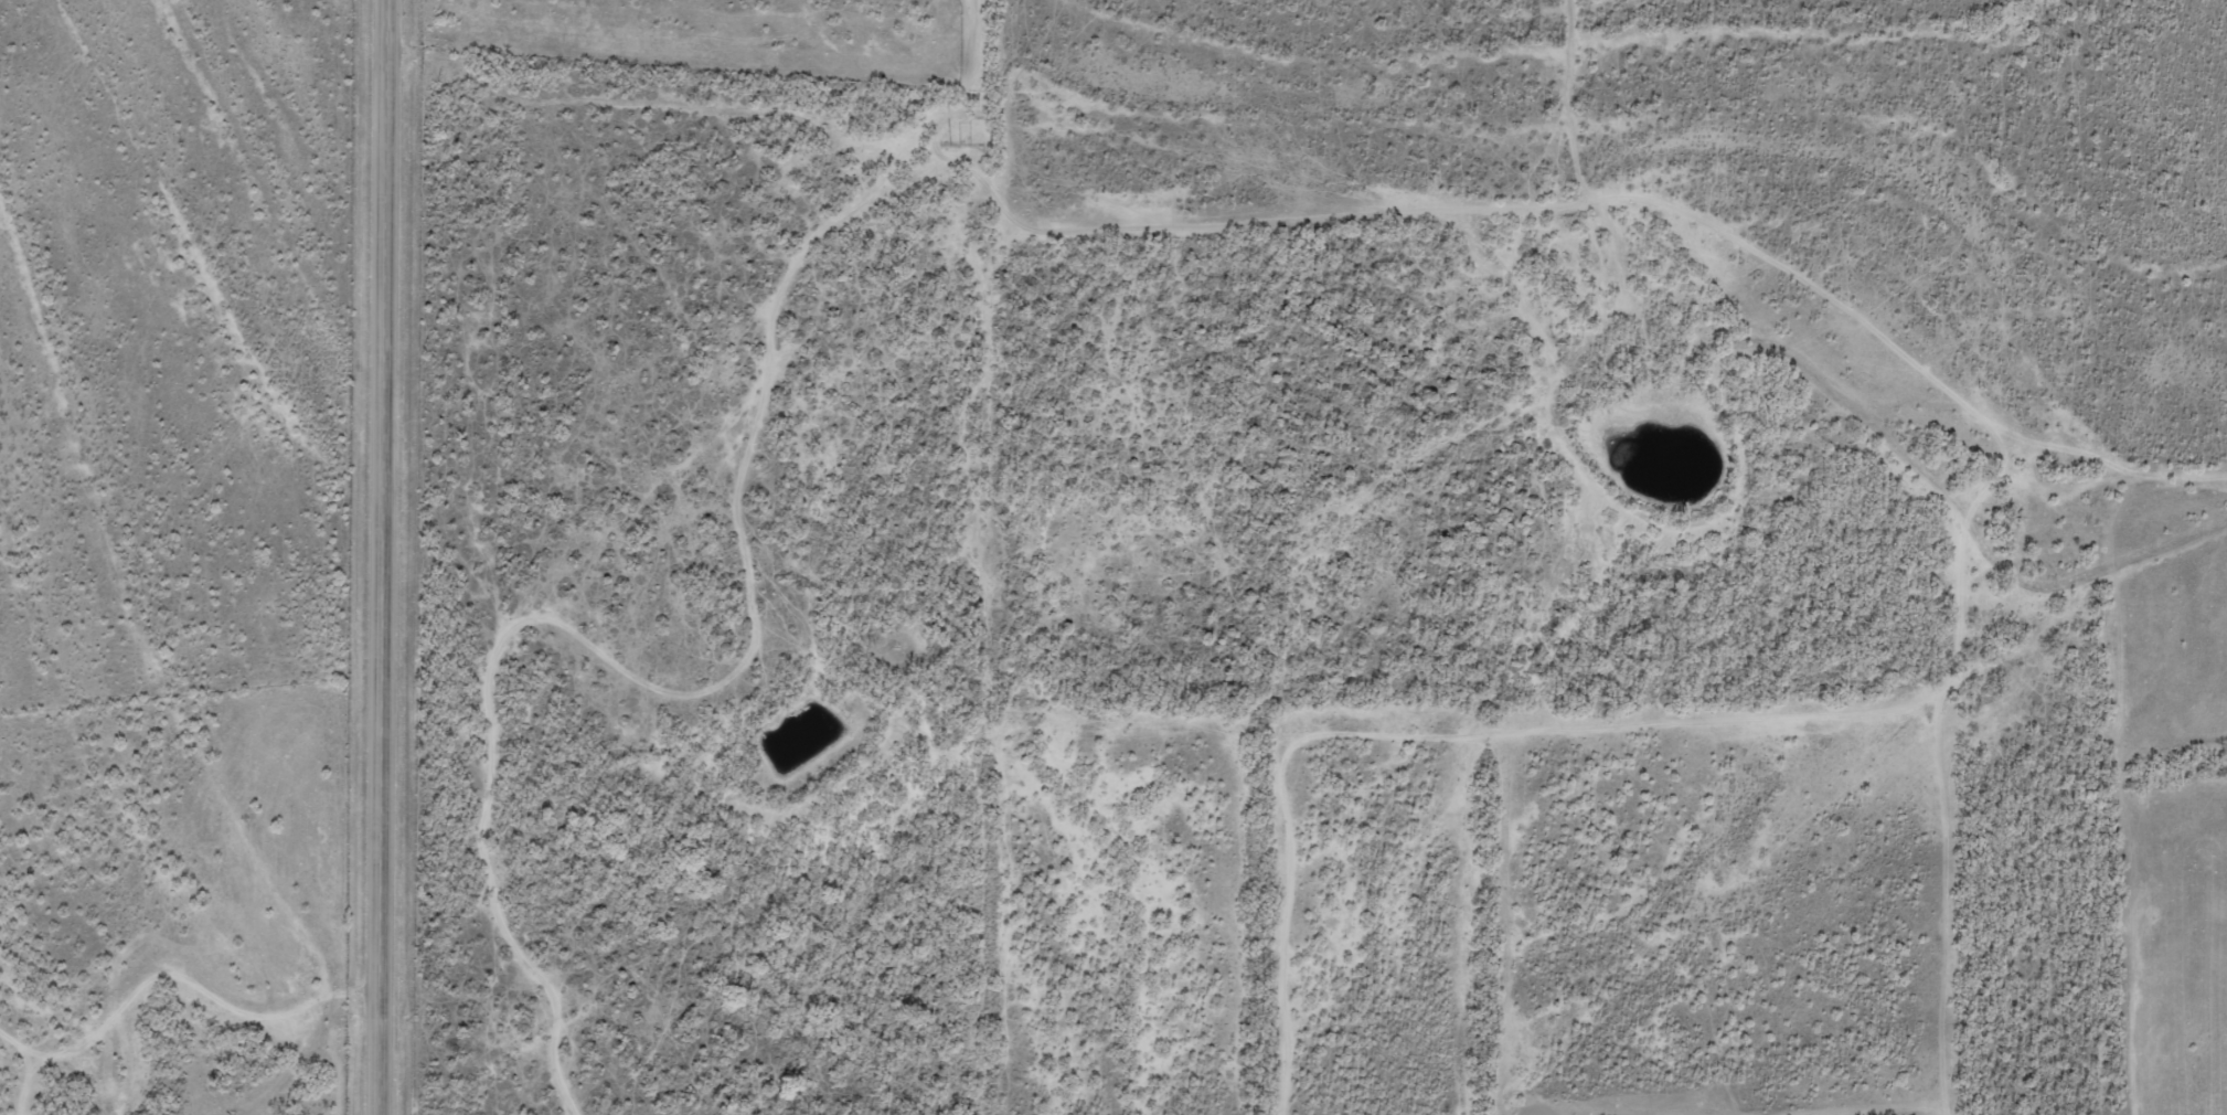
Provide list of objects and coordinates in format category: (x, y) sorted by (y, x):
building: (2015, 532)
road: (381, 557)

